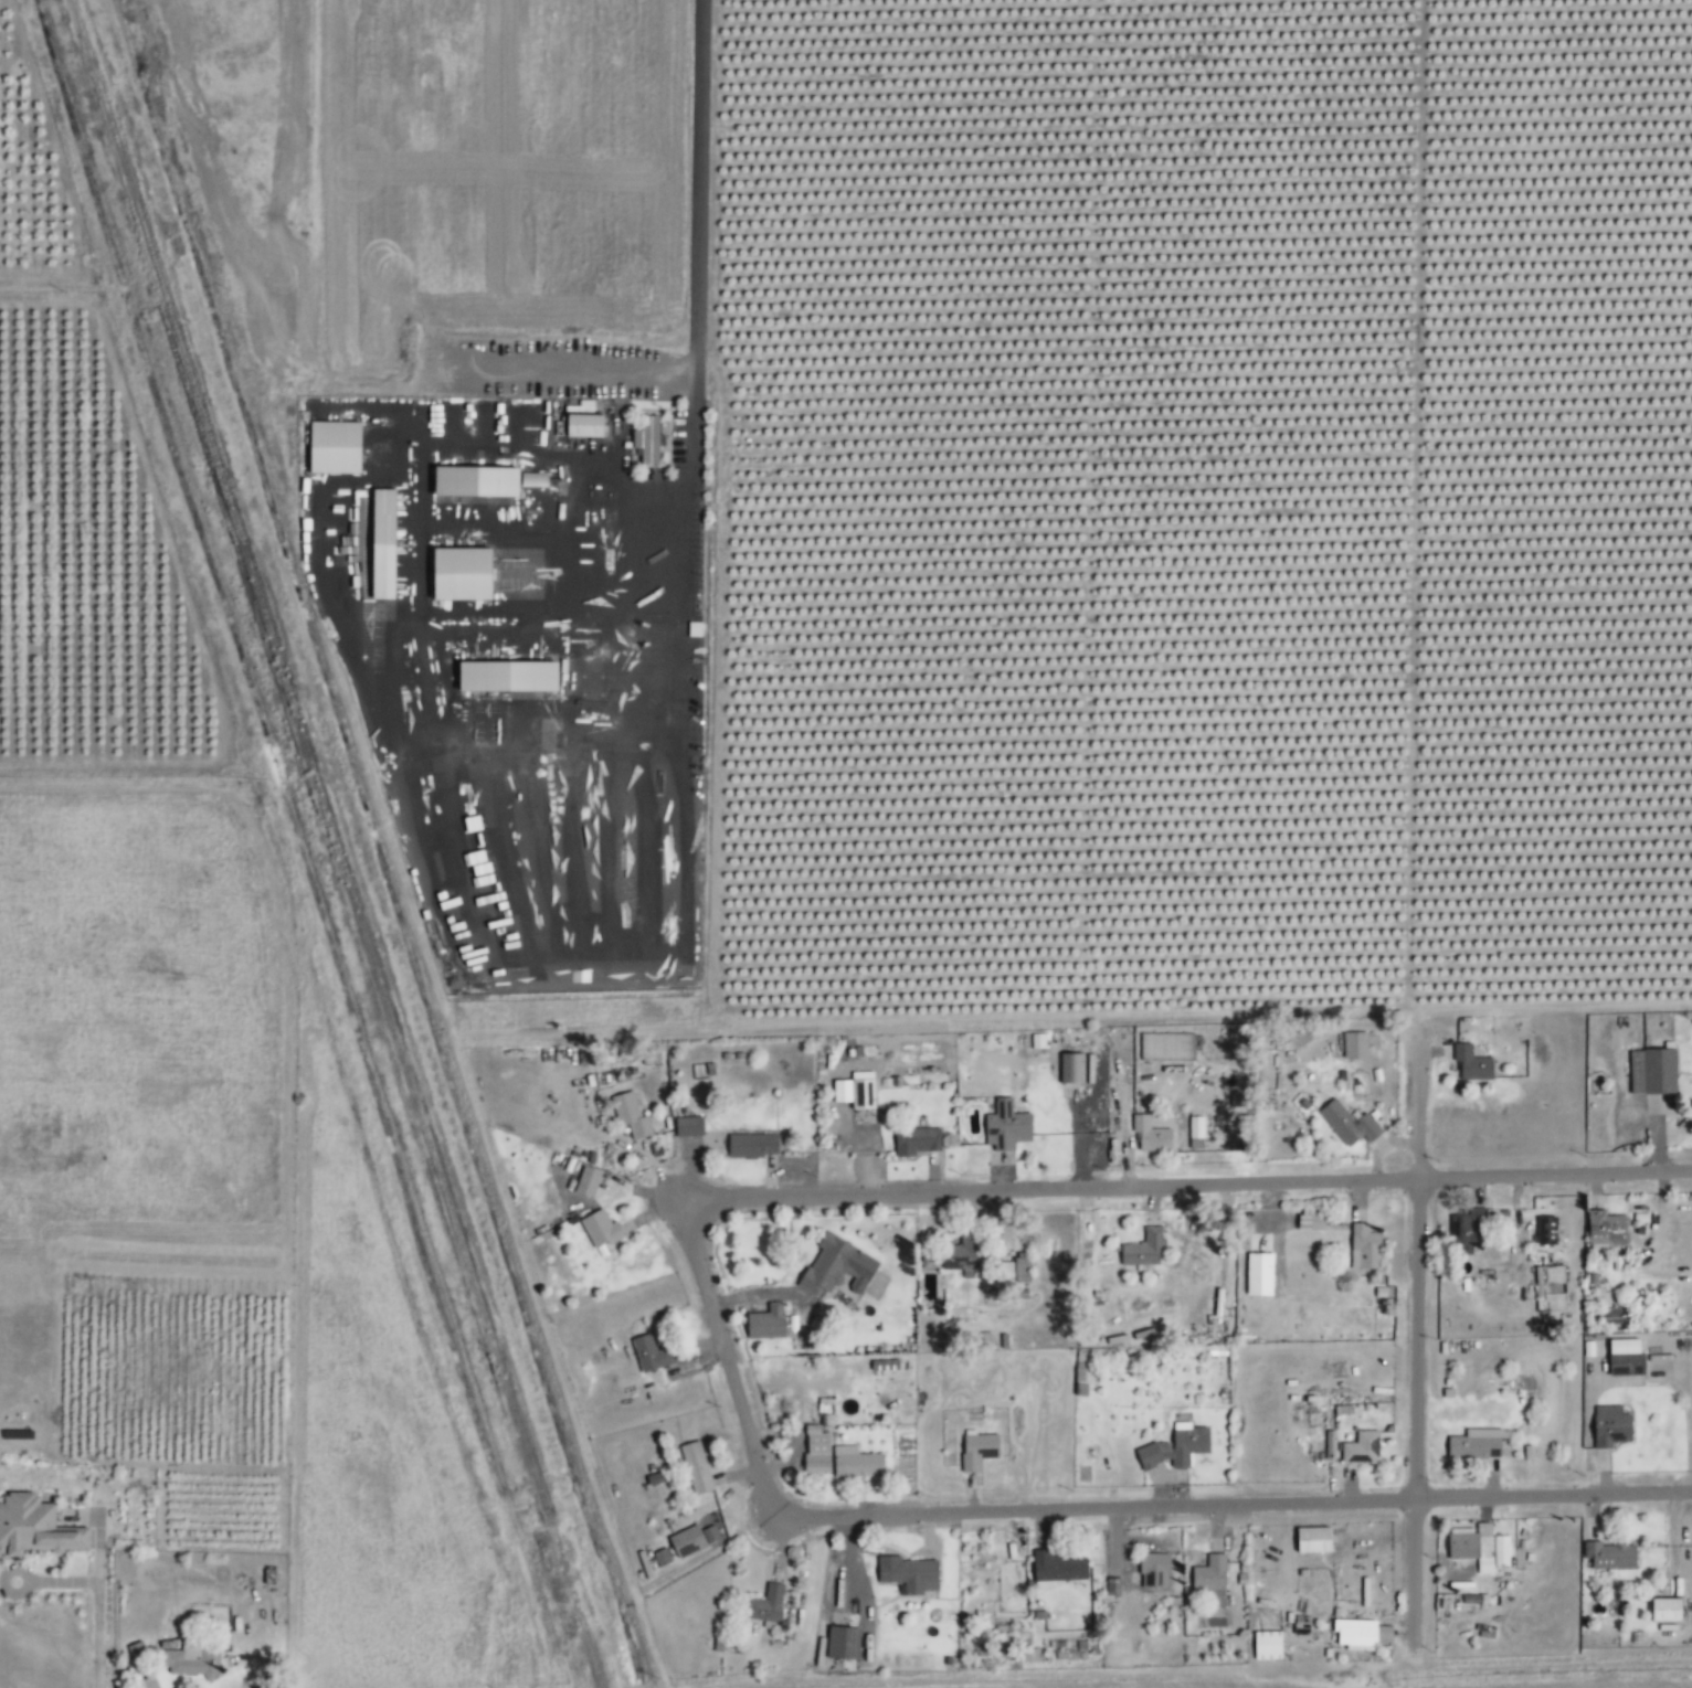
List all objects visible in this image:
road: (697, 214)
building: (581, 426)
building: (331, 448)
building: (531, 479)
building: (472, 482)
building: (379, 544)
building: (457, 575)
building: (504, 678)
railway: (335, 843)
building: (1353, 1044)
building: (1165, 1047)
building: (649, 1057)
building: (1469, 1063)
building: (1069, 1068)
building: (1650, 1071)
building: (853, 1092)
building: (628, 1115)
building: (1345, 1122)
building: (1004, 1126)
building: (1194, 1127)
building: (1149, 1135)
building: (913, 1142)
road: (1663, 1142)
building: (750, 1145)
building: (585, 1181)
road: (1184, 1187)
building: (1309, 1222)
building: (599, 1229)
building: (1544, 1230)
building: (1604, 1230)
building: (1463, 1231)
building: (1363, 1248)
building: (1141, 1251)
building: (960, 1256)
building: (928, 1259)
building: (834, 1266)
building: (1011, 1272)
building: (1257, 1274)
building: (1611, 1317)
building: (763, 1323)
building: (1125, 1334)
road: (1417, 1348)
building: (649, 1353)
building: (1624, 1358)
road: (726, 1360)
building: (1609, 1426)
building: (1474, 1444)
building: (1329, 1445)
building: (1174, 1447)
building: (1360, 1447)
building: (815, 1450)
building: (976, 1451)
building: (854, 1463)
building: (695, 1467)
road: (1235, 1506)
building: (32, 1528)
building: (689, 1540)
building: (1311, 1540)
building: (1471, 1546)
building: (1500, 1551)
building: (1608, 1556)
building: (660, 1558)
building: (1054, 1569)
building: (1152, 1570)
building: (906, 1574)
building: (1209, 1575)
road: (98, 1595)
building: (763, 1604)
building: (1663, 1610)
building: (1357, 1632)
building: (1484, 1632)
building: (1009, 1637)
building: (840, 1643)
building: (1265, 1646)
building: (1028, 1655)
building: (137, 1656)
building: (189, 1659)

